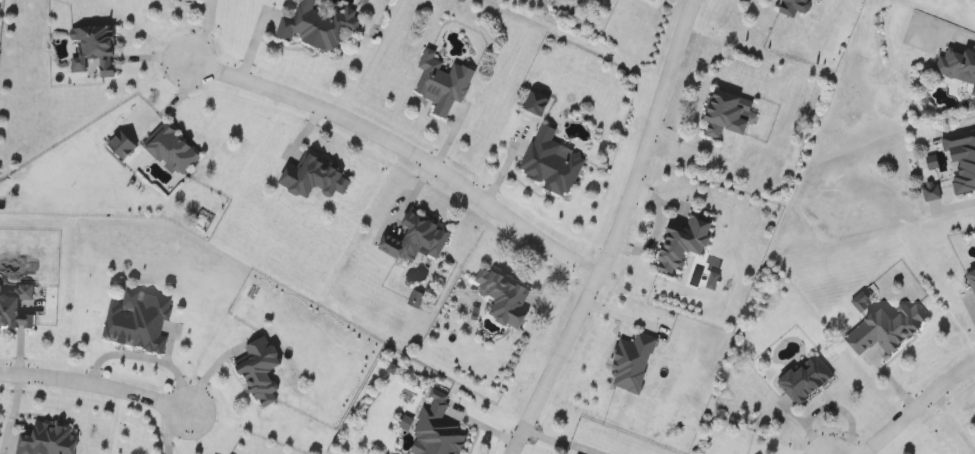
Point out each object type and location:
building: (824, 0)
building: (790, 7)
building: (314, 27)
road: (943, 28)
road: (201, 31)
building: (90, 52)
building: (957, 66)
building: (439, 84)
building: (723, 115)
road: (399, 150)
building: (168, 151)
building: (962, 162)
building: (548, 163)
building: (309, 179)
road: (610, 230)
building: (411, 240)
building: (679, 242)
building: (971, 282)
building: (500, 299)
building: (13, 308)
building: (134, 322)
building: (888, 327)
building: (628, 364)
building: (255, 372)
building: (802, 379)
road: (94, 383)
road: (918, 406)
building: (435, 431)
building: (44, 441)

